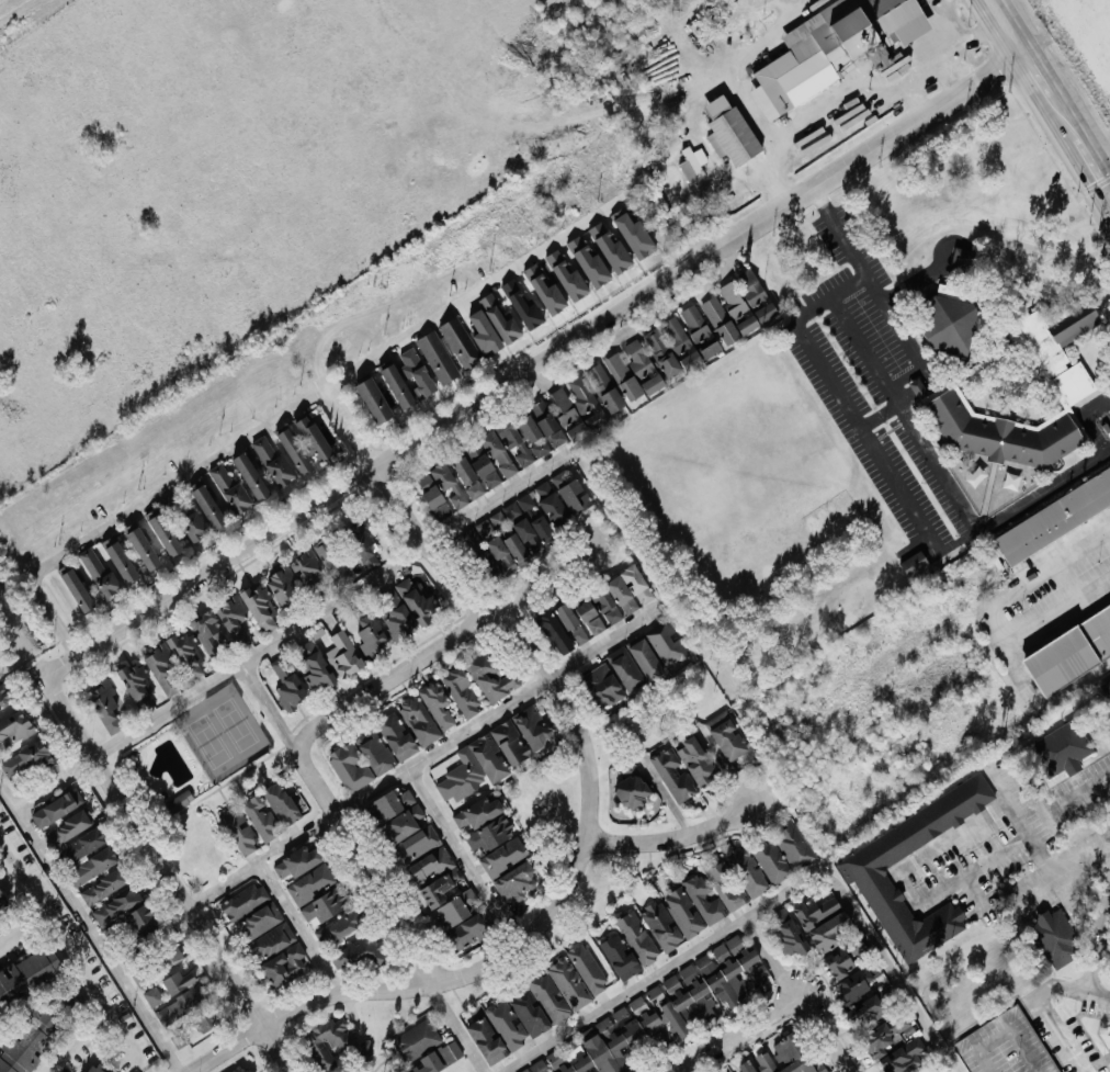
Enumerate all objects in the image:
road: (994, 9)
road: (955, 20)
road: (984, 30)
road: (1011, 35)
building: (834, 46)
road: (725, 61)
road: (936, 63)
road: (1034, 72)
road: (906, 83)
road: (1064, 121)
building: (729, 129)
road: (816, 133)
building: (693, 161)
road: (1095, 172)
building: (962, 257)
building: (588, 259)
building: (543, 286)
road: (876, 291)
building: (756, 293)
building: (522, 304)
building: (729, 312)
building: (499, 317)
building: (949, 324)
building: (699, 330)
building: (484, 331)
road: (621, 336)
building: (458, 341)
building: (672, 347)
building: (438, 356)
road: (532, 363)
building: (634, 370)
building: (416, 371)
building: (396, 384)
building: (604, 386)
building: (373, 398)
building: (577, 407)
road: (904, 411)
road: (880, 415)
building: (546, 421)
building: (1003, 432)
building: (313, 436)
building: (522, 437)
road: (1106, 445)
building: (293, 449)
building: (474, 449)
building: (497, 451)
building: (272, 459)
road: (201, 464)
building: (486, 470)
building: (250, 474)
building: (467, 475)
building: (230, 487)
building: (441, 488)
building: (569, 489)
building: (215, 493)
building: (539, 503)
building: (207, 505)
road: (913, 508)
building: (1054, 516)
building: (192, 524)
building: (488, 526)
building: (543, 530)
building: (165, 532)
building: (526, 533)
building: (145, 541)
building: (364, 548)
building: (517, 548)
building: (500, 551)
building: (120, 560)
building: (314, 561)
building: (914, 562)
building: (98, 569)
building: (283, 584)
building: (76, 588)
building: (630, 588)
building: (418, 600)
building: (607, 606)
building: (259, 607)
building: (394, 610)
road: (1058, 611)
building: (233, 613)
building: (589, 614)
road: (995, 623)
building: (206, 627)
building: (560, 627)
road: (287, 630)
building: (371, 633)
road: (510, 633)
building: (665, 641)
building: (1069, 647)
building: (343, 653)
building: (645, 657)
road: (420, 658)
building: (157, 661)
building: (281, 667)
building: (315, 667)
building: (625, 668)
building: (491, 676)
building: (134, 679)
building: (1107, 684)
building: (602, 685)
building: (290, 690)
building: (462, 691)
building: (3, 692)
building: (104, 703)
building: (437, 704)
road: (267, 707)
building: (419, 719)
building: (15, 725)
building: (532, 725)
building: (727, 734)
building: (396, 735)
building: (509, 741)
building: (1063, 747)
building: (375, 751)
road: (421, 757)
building: (25, 758)
building: (695, 759)
building: (350, 766)
building: (473, 767)
building: (672, 775)
building: (631, 786)
road: (1083, 790)
road: (665, 797)
building: (180, 800)
building: (393, 801)
building: (281, 802)
building: (57, 806)
building: (478, 811)
building: (261, 816)
building: (403, 822)
road: (1023, 826)
building: (68, 827)
building: (240, 831)
building: (490, 832)
road: (671, 839)
building: (418, 843)
building: (82, 844)
building: (783, 853)
building: (503, 856)
road: (461, 859)
building: (297, 860)
building: (92, 865)
road: (162, 866)
road: (1065, 868)
building: (746, 869)
building: (864, 870)
building: (435, 874)
building: (516, 881)
building: (309, 883)
building: (725, 884)
building: (102, 885)
road: (908, 888)
road: (975, 892)
road: (384, 898)
building: (1, 899)
building: (704, 899)
building: (245, 901)
building: (326, 903)
building: (116, 904)
building: (455, 907)
road: (760, 910)
building: (684, 911)
building: (139, 915)
road: (56, 917)
building: (260, 919)
building: (824, 921)
road: (24, 922)
building: (662, 925)
building: (339, 926)
road: (88, 928)
road: (299, 928)
building: (466, 930)
building: (637, 936)
building: (791, 936)
building: (1055, 937)
building: (274, 938)
road: (1099, 944)
building: (355, 952)
building: (171, 955)
building: (621, 956)
building: (846, 958)
building: (703, 960)
building: (284, 963)
road: (772, 963)
building: (588, 967)
building: (29, 973)
building: (178, 981)
building: (569, 982)
building: (857, 982)
building: (715, 984)
road: (1072, 990)
road: (364, 992)
building: (656, 993)
building: (154, 995)
building: (550, 1000)
building: (639, 1004)
building: (189, 1008)
building: (530, 1013)
building: (507, 1023)
road: (453, 1027)
road: (739, 1031)
road: (835, 1034)
building: (886, 1035)
road: (1063, 1036)
building: (417, 1038)
building: (487, 1039)
building: (616, 1040)
road: (82, 1041)
road: (128, 1041)
building: (332, 1041)
building: (1107, 1041)
building: (26, 1043)
building: (452, 1050)
building: (790, 1056)
building: (904, 1057)
building: (429, 1063)
building: (535, 1067)
building: (746, 1067)
building: (95, 1069)
road: (986, 1069)
building: (241, 1070)
road: (853, 1071)

